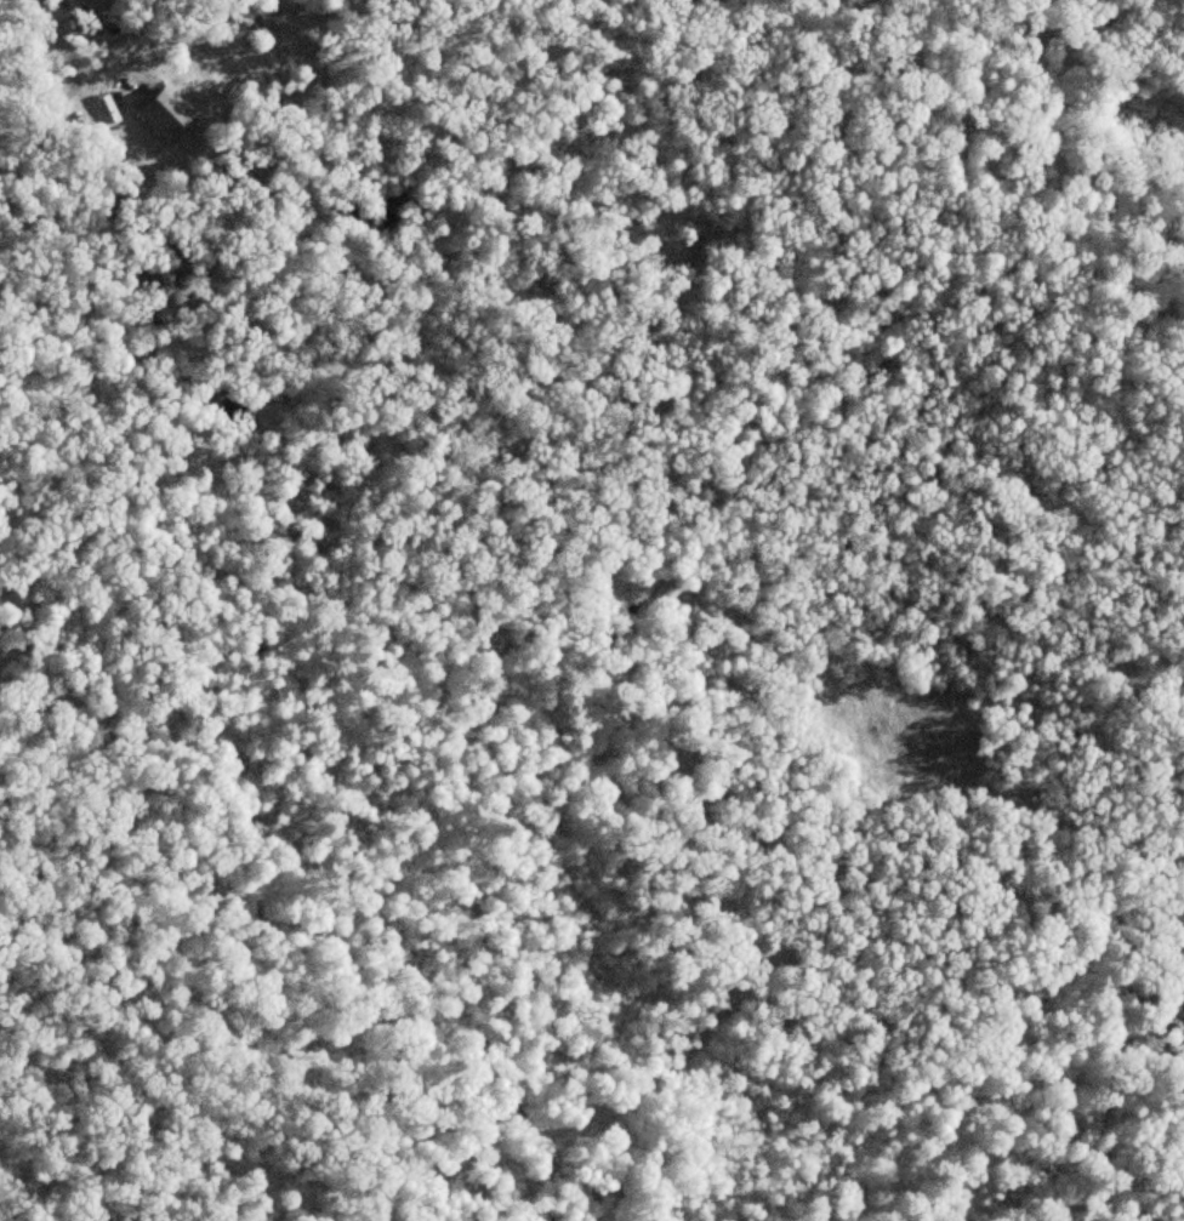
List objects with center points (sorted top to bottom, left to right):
building: (74, 2)
road: (73, 55)
building: (164, 113)

